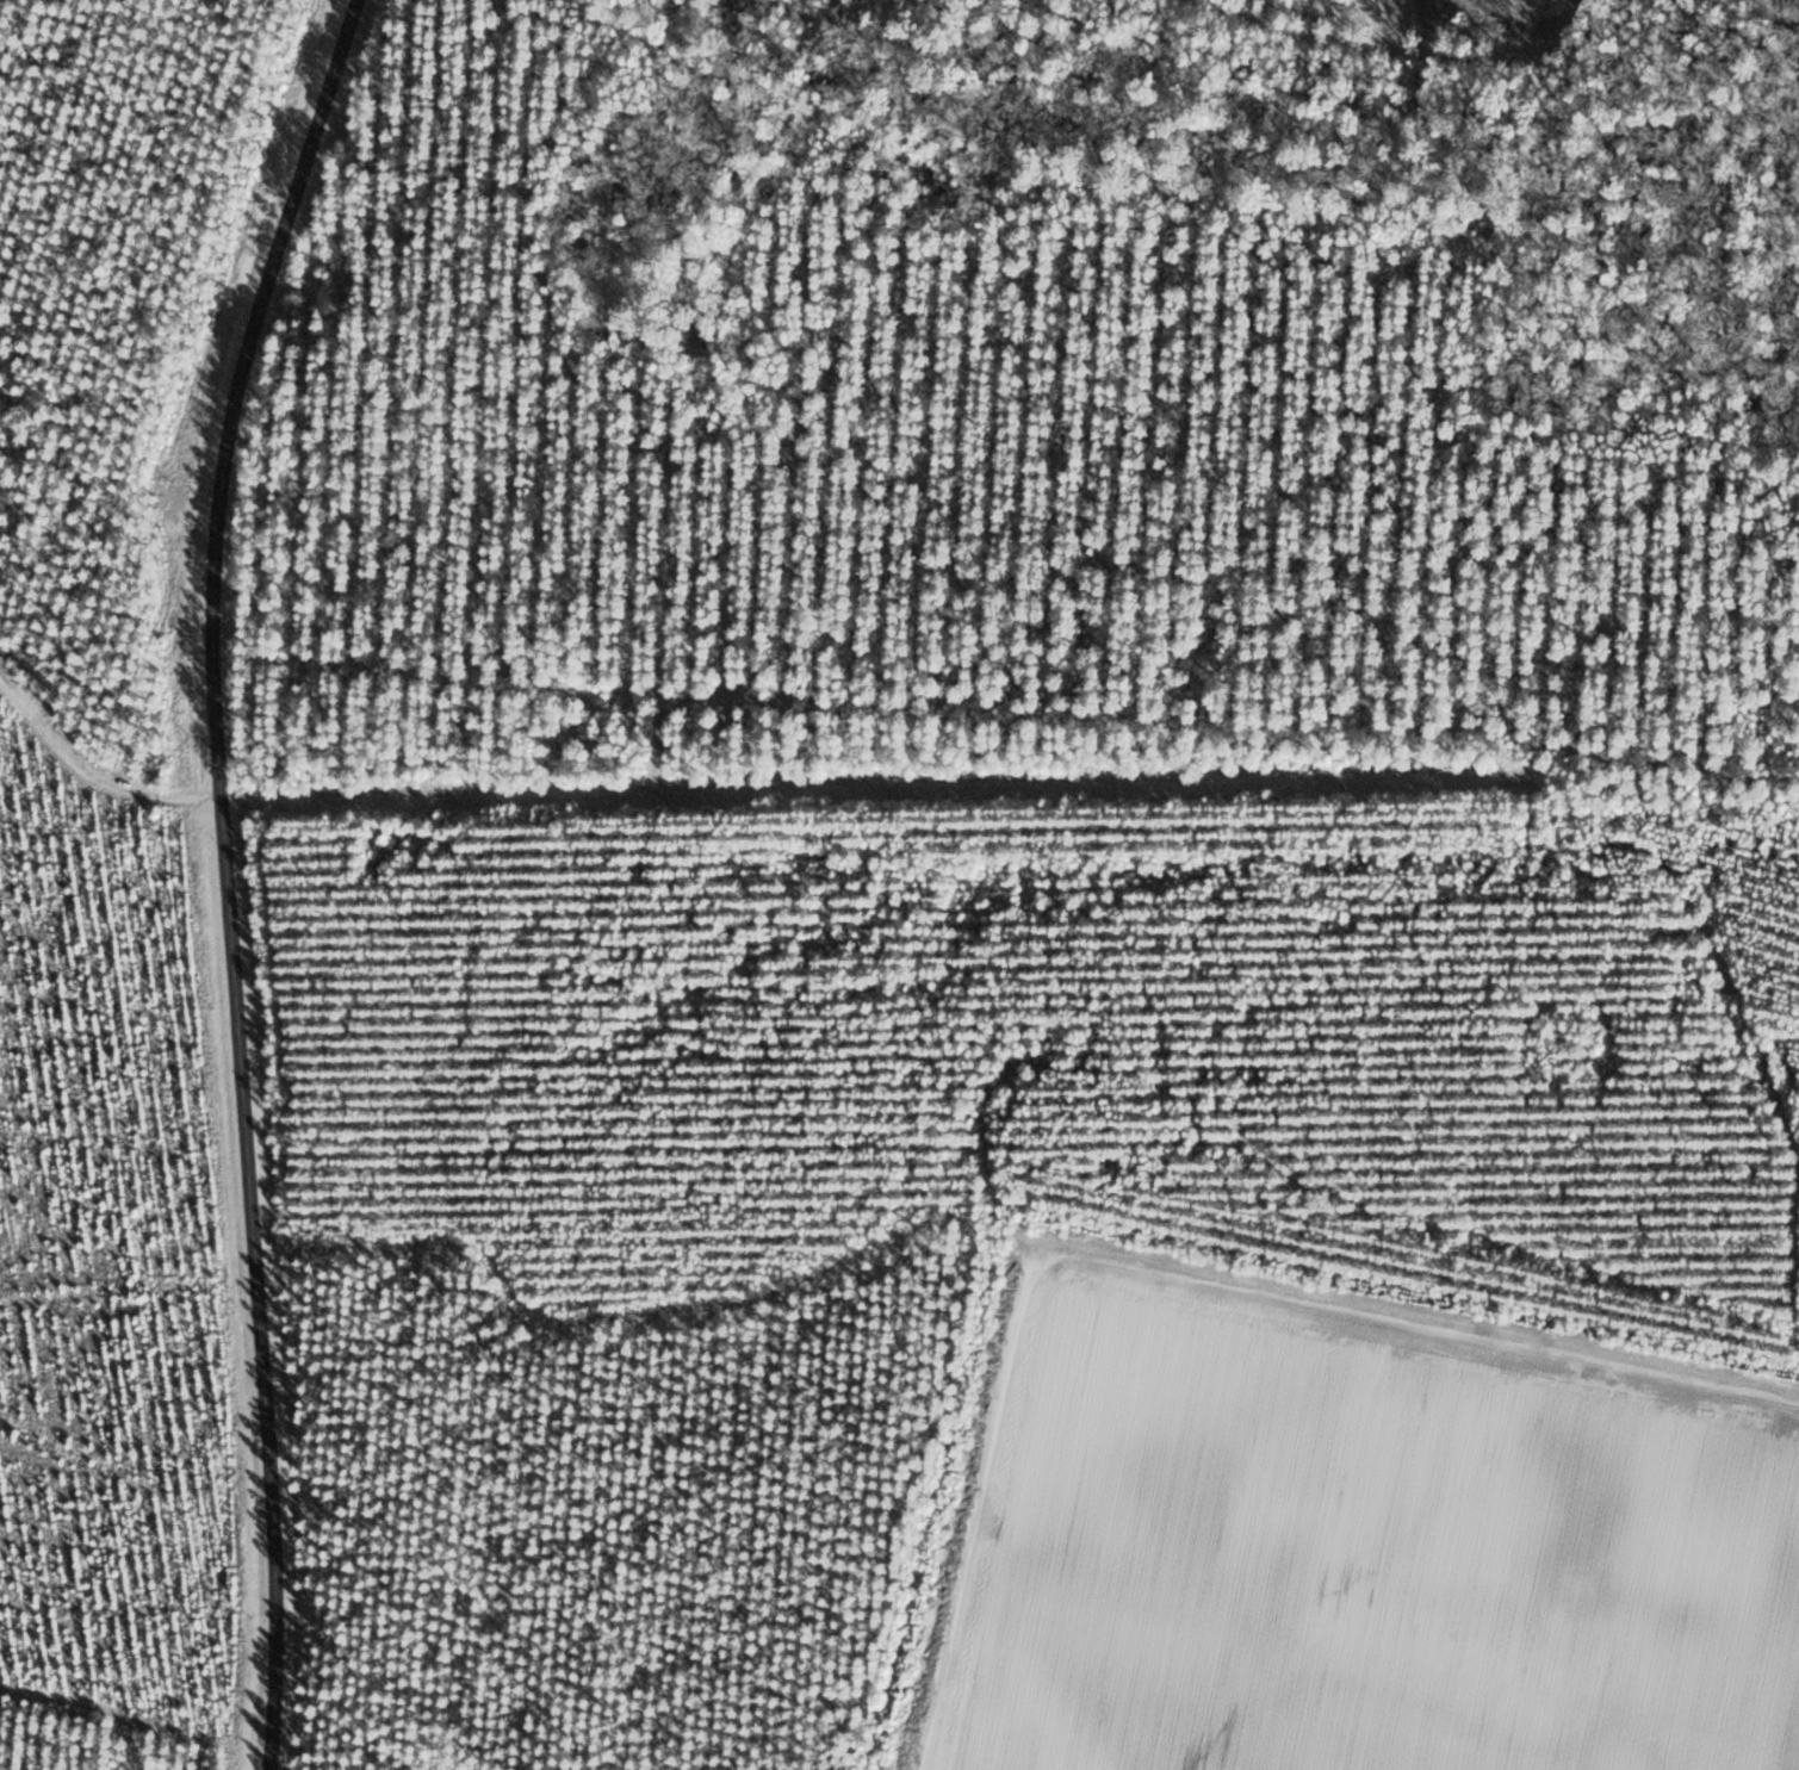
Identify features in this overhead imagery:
road: (762, 791)
road: (224, 876)

